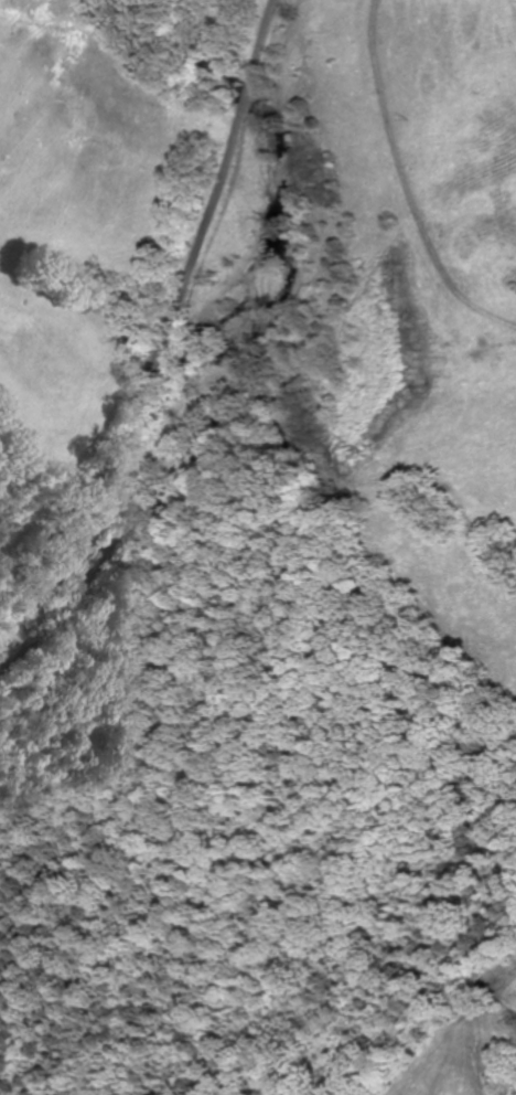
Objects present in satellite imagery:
road: (257, 34)
road: (241, 93)
road: (153, 369)

